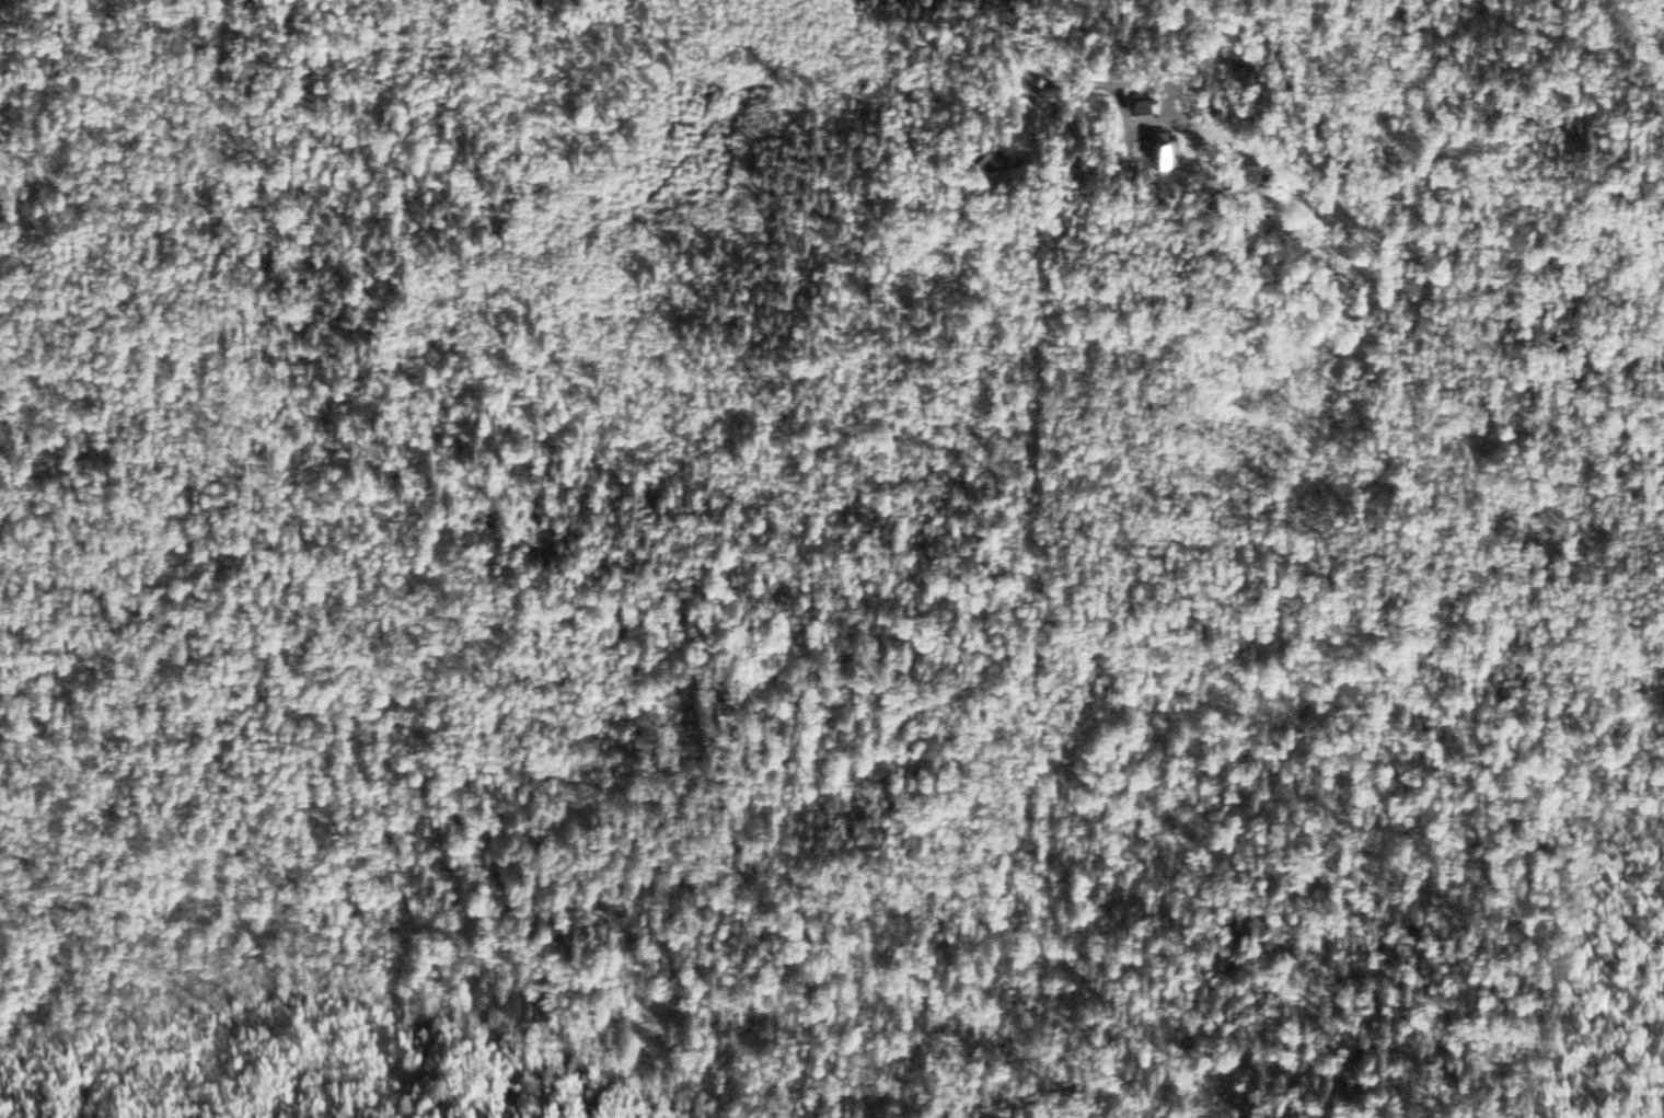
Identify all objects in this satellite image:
building: (1155, 149)

